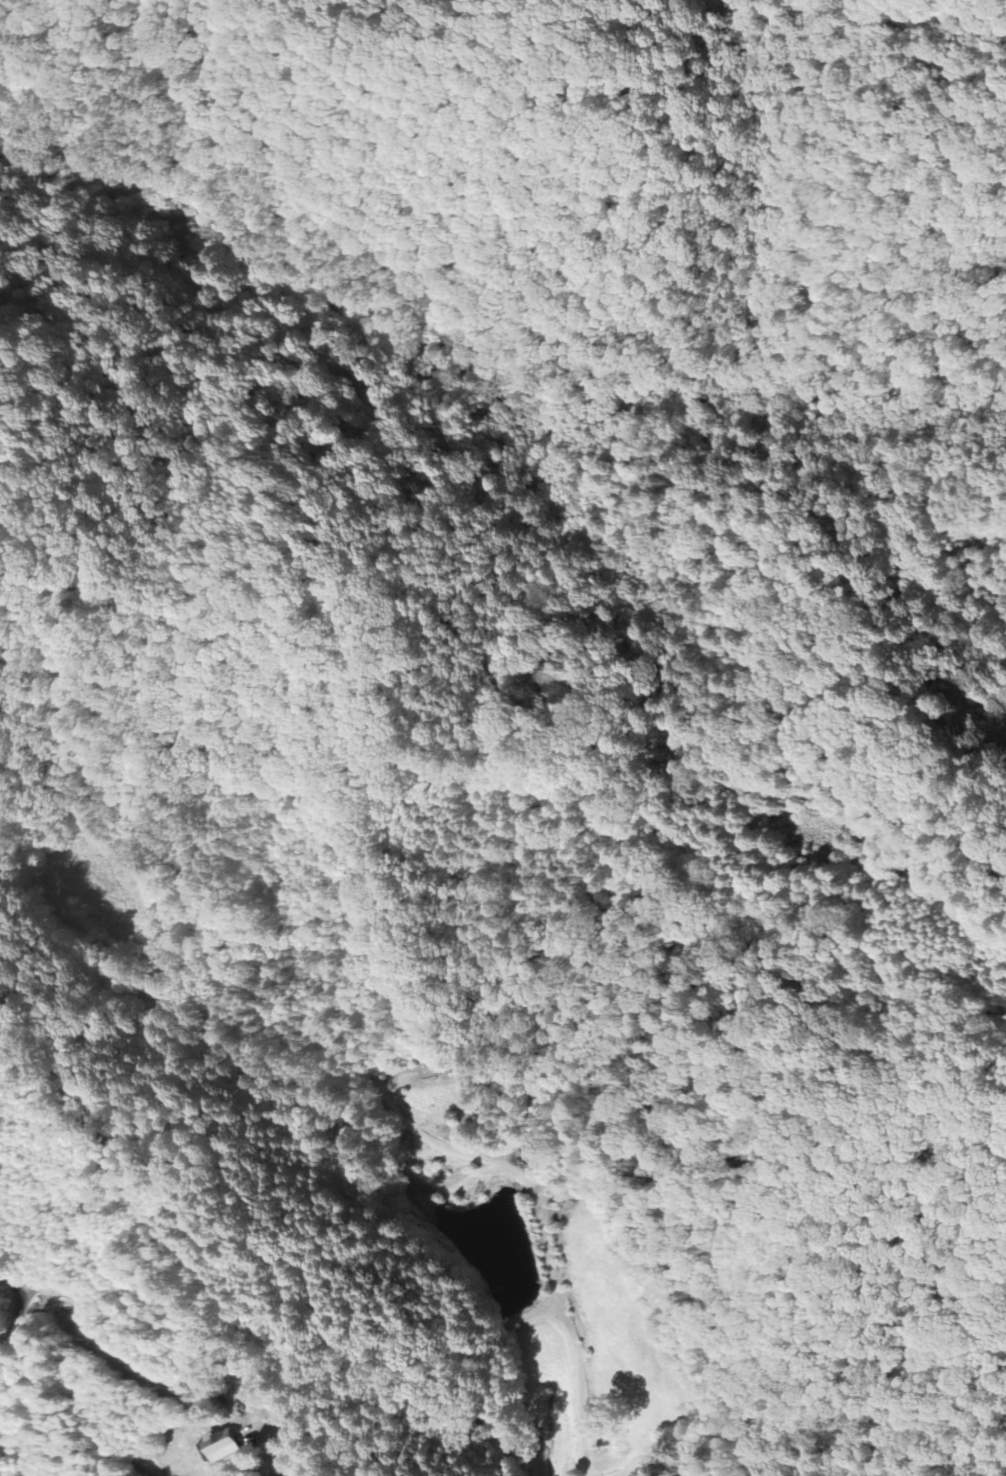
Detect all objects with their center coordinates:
road: (77, 1336)
road: (15, 1436)
road: (269, 1454)
road: (1003, 1471)

